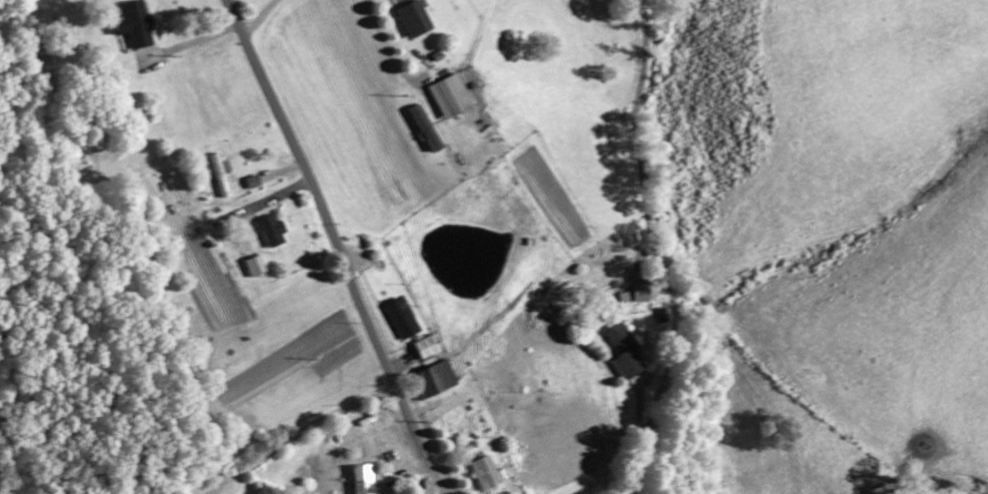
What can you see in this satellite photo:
building: (412, 21)
building: (135, 27)
building: (448, 99)
building: (424, 131)
building: (220, 177)
building: (252, 184)
building: (272, 234)
road: (337, 246)
road: (659, 250)
building: (255, 268)
building: (641, 295)
building: (401, 321)
building: (424, 349)
building: (622, 354)
building: (445, 376)
building: (483, 474)
building: (360, 479)
building: (874, 493)

